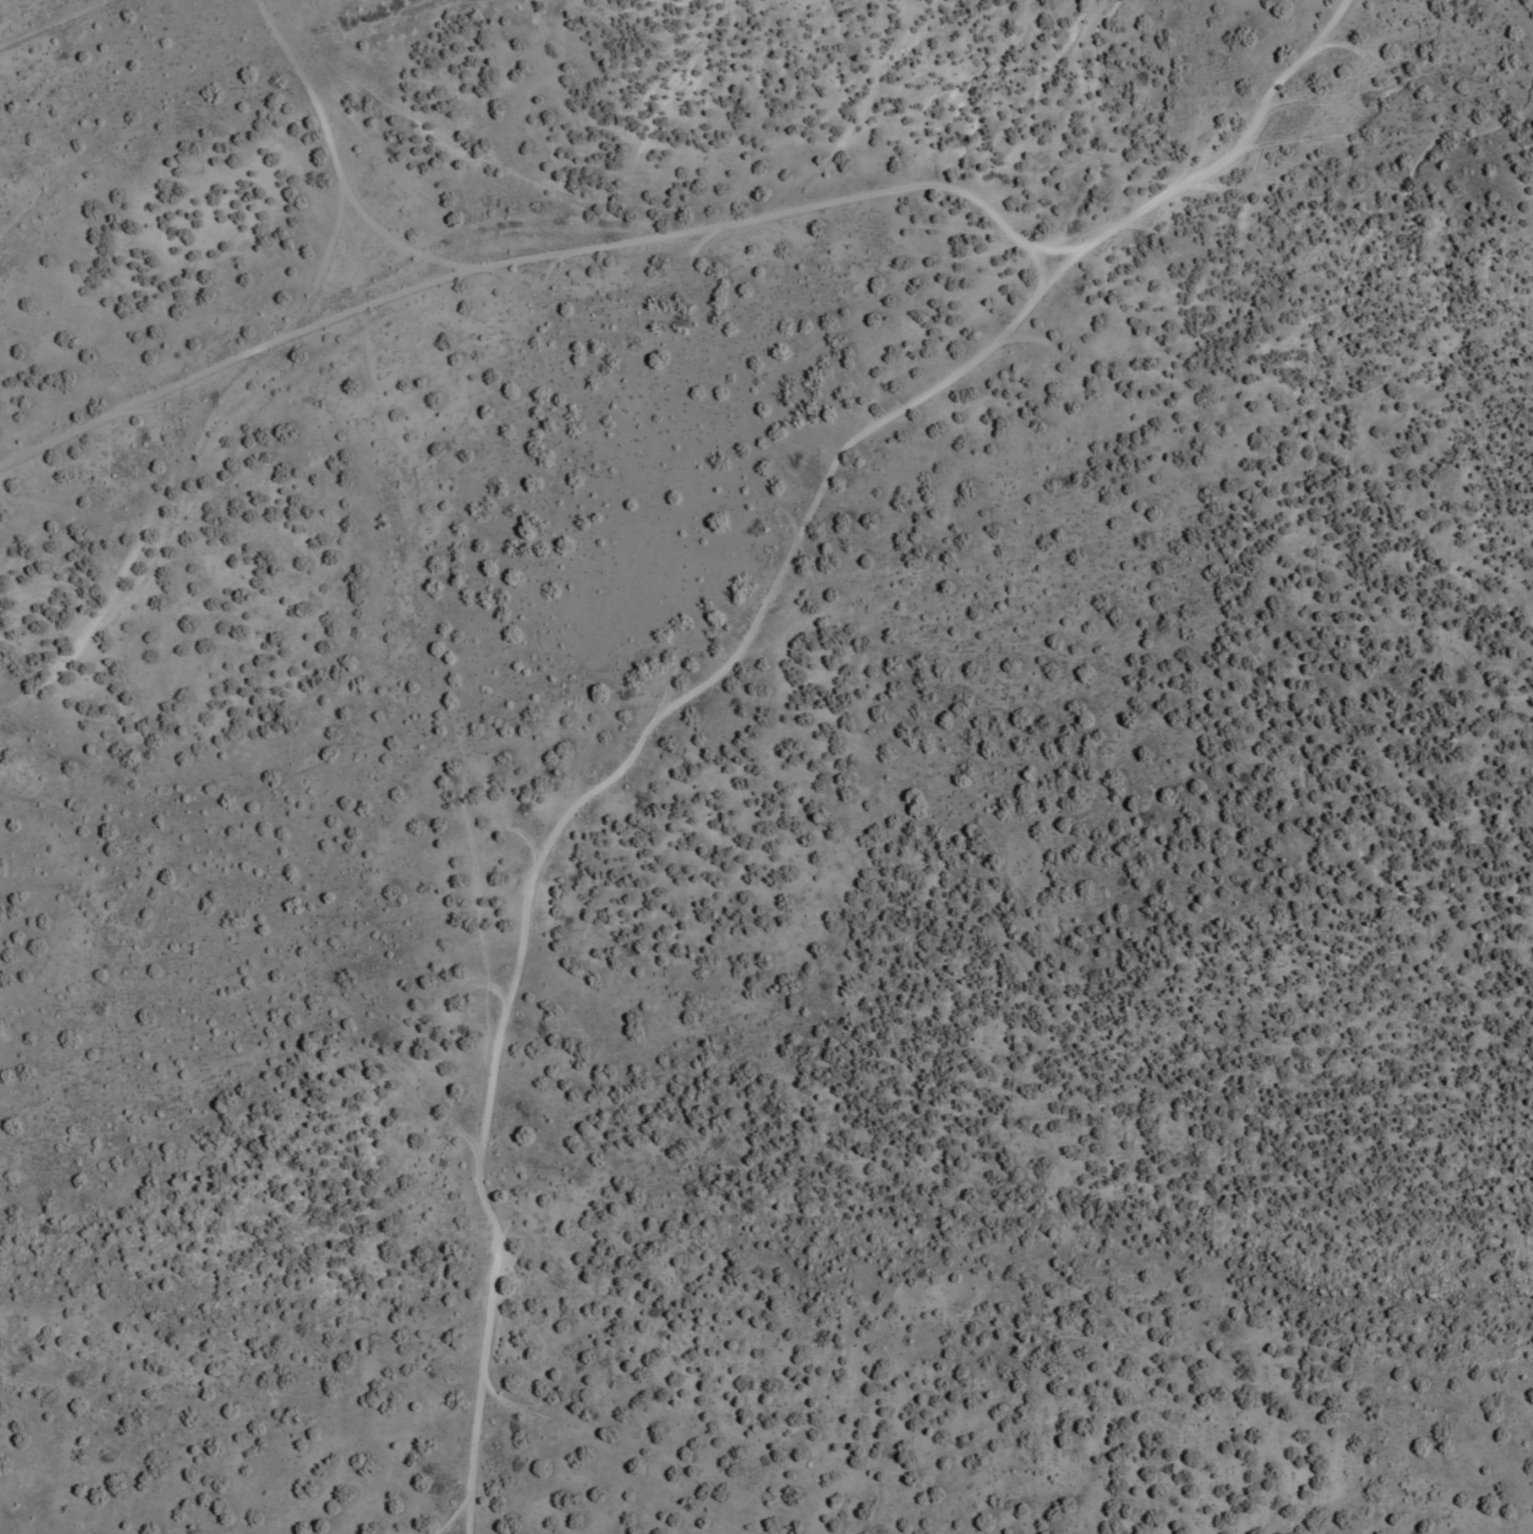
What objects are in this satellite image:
road: (406, 240)
road: (724, 668)

